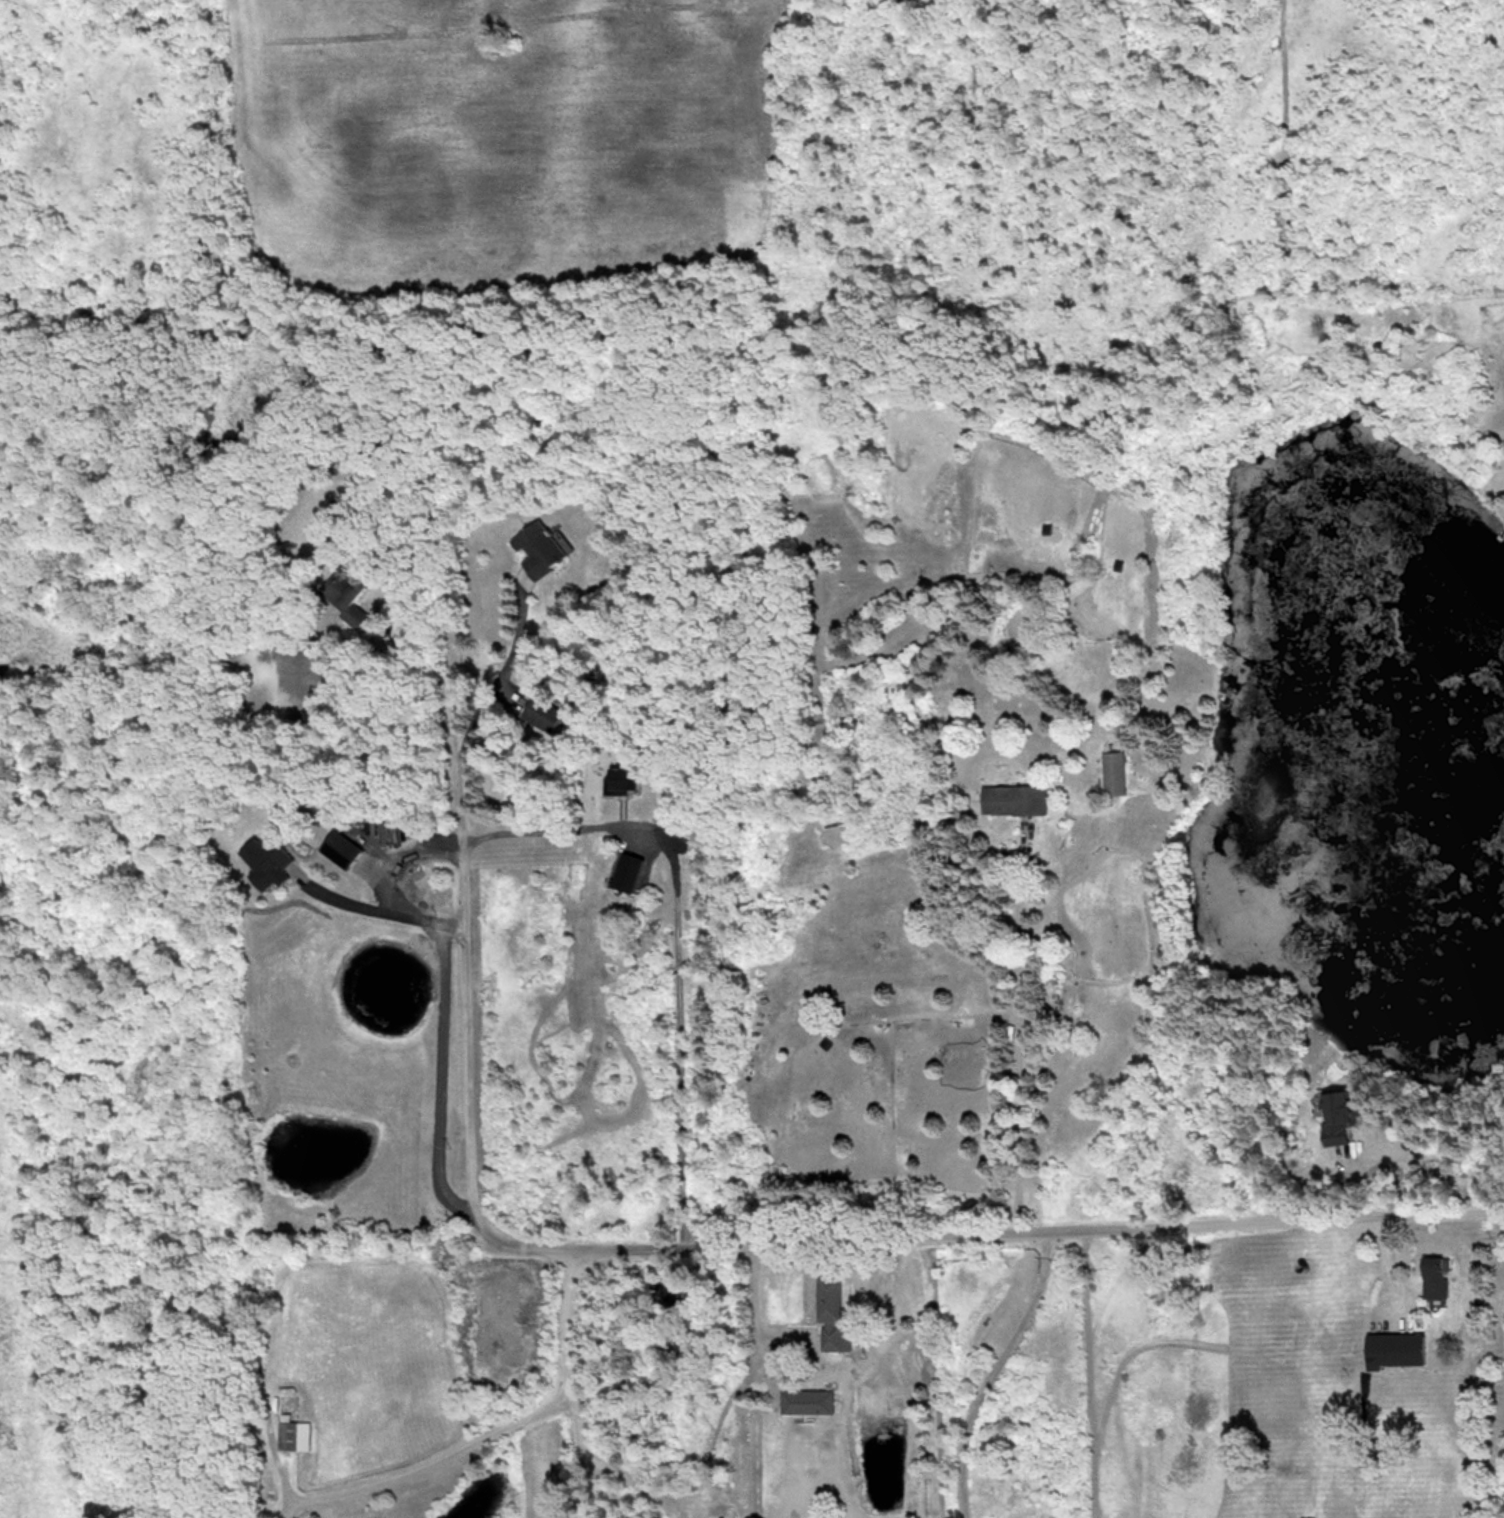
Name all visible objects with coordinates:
building: (542, 548)
building: (977, 568)
building: (345, 594)
road: (498, 674)
road: (444, 679)
building: (542, 714)
building: (1114, 773)
building: (626, 778)
building: (1013, 800)
building: (341, 849)
building: (268, 860)
building: (628, 872)
road: (385, 914)
park: (112, 936)
road: (667, 937)
road: (1017, 1033)
road: (458, 1050)
road: (434, 1074)
building: (1342, 1117)
road: (1412, 1183)
road: (1045, 1227)
building: (1438, 1277)
building: (833, 1317)
building: (1399, 1350)
road: (995, 1369)
road: (578, 1381)
building: (295, 1436)
power tower: (4, 1439)
road: (430, 1460)
road: (650, 1492)

